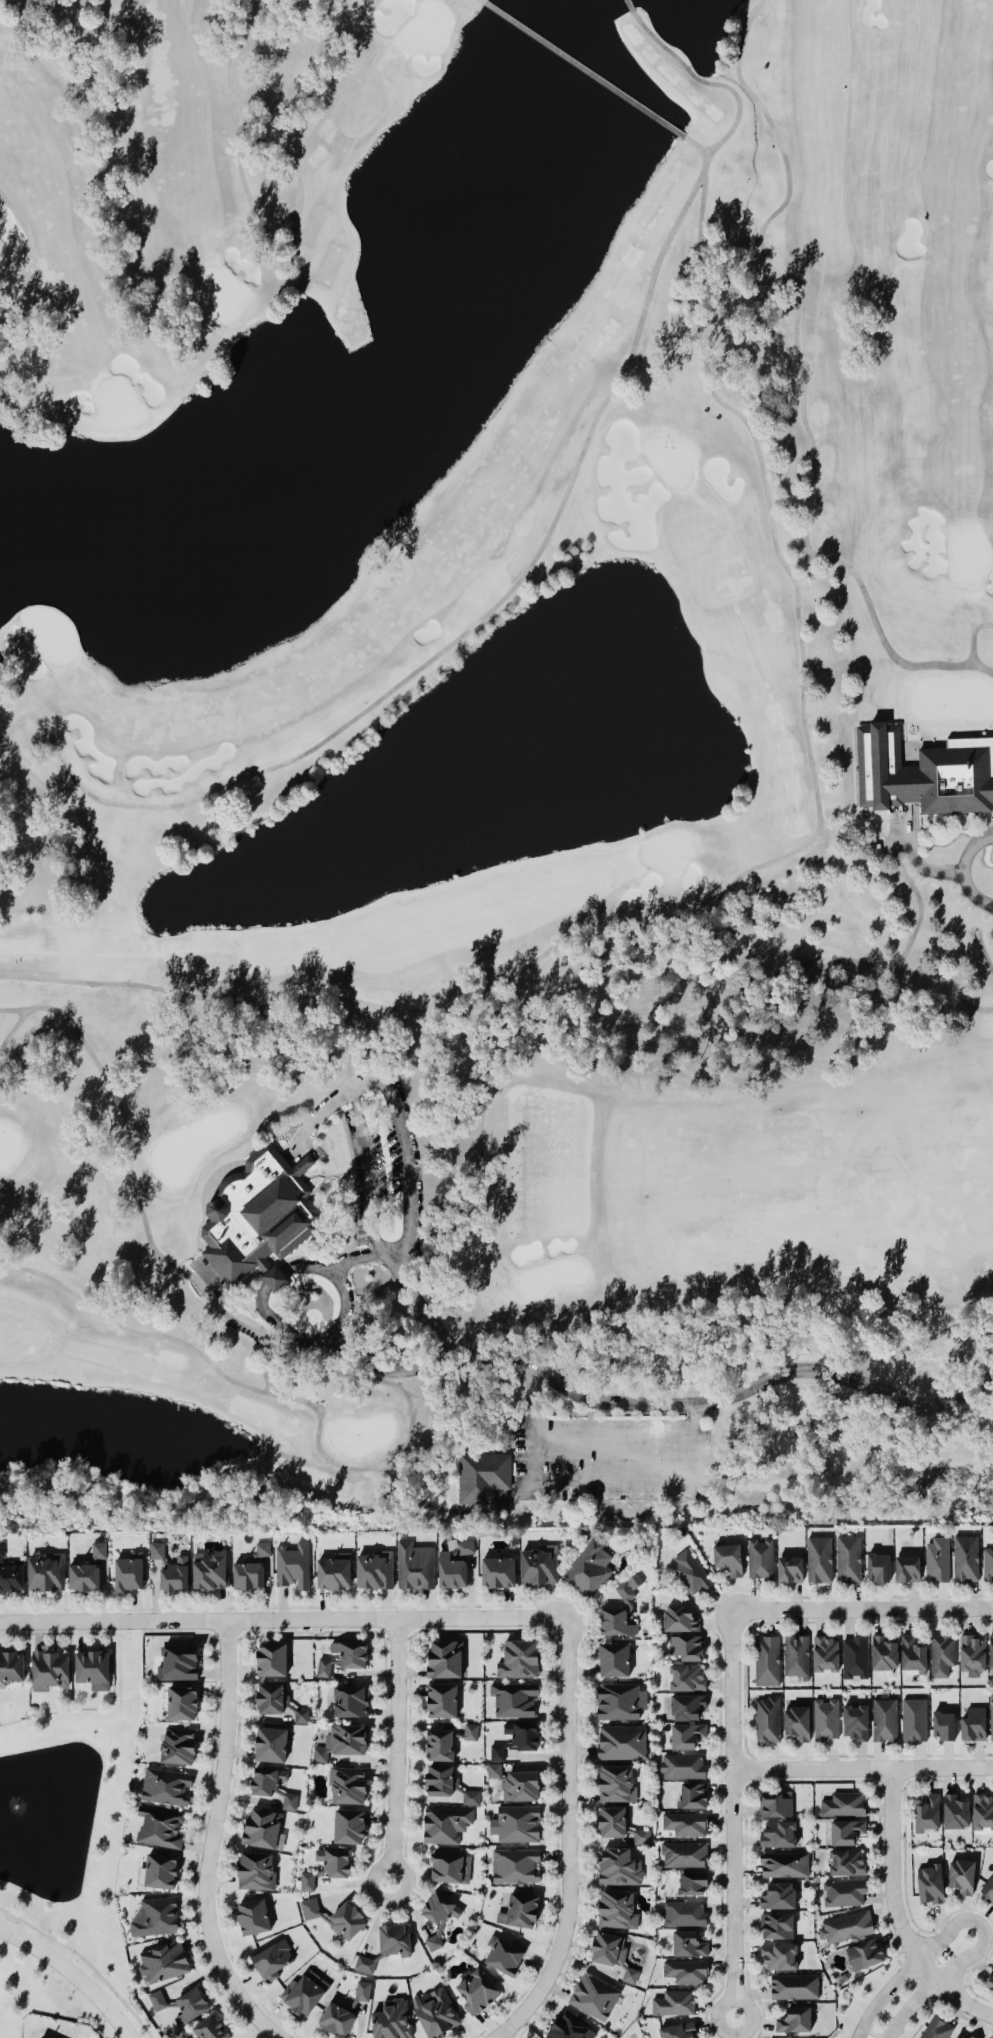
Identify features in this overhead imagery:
park: (496, 764)
building: (924, 771)
road: (902, 829)
road: (886, 845)
road: (964, 867)
road: (929, 868)
road: (322, 1105)
road: (405, 1162)
road: (369, 1169)
building: (258, 1215)
road: (360, 1255)
road: (344, 1289)
road: (418, 1303)
road: (390, 1369)
road: (726, 1395)
road: (611, 1437)
building: (482, 1474)
road: (592, 1479)
building: (157, 1548)
building: (1, 1549)
building: (728, 1557)
building: (937, 1557)
building: (966, 1557)
building: (760, 1558)
building: (819, 1558)
building: (848, 1558)
building: (987, 1562)
building: (414, 1564)
building: (454, 1564)
building: (292, 1565)
building: (538, 1565)
building: (373, 1566)
building: (589, 1566)
building: (877, 1566)
building: (906, 1566)
building: (86, 1568)
building: (250, 1568)
building: (789, 1568)
building: (209, 1569)
building: (333, 1569)
building: (45, 1570)
building: (497, 1570)
building: (128, 1571)
building: (690, 1571)
building: (174, 1573)
building: (11, 1576)
building: (624, 1589)
road: (861, 1607)
building: (679, 1616)
road: (281, 1619)
building: (615, 1621)
building: (686, 1645)
building: (990, 1649)
building: (350, 1652)
building: (825, 1652)
building: (883, 1652)
building: (941, 1652)
building: (795, 1653)
building: (912, 1653)
building: (971, 1653)
building: (855, 1655)
building: (271, 1657)
building: (443, 1657)
building: (613, 1657)
building: (766, 1657)
building: (519, 1658)
building: (177, 1660)
building: (11, 1664)
building: (323, 1665)
building: (92, 1666)
building: (49, 1669)
building: (687, 1676)
building: (272, 1697)
building: (514, 1697)
building: (442, 1698)
building: (350, 1699)
building: (619, 1699)
building: (181, 1701)
building: (687, 1704)
building: (991, 1712)
building: (301, 1715)
building: (766, 1717)
building: (826, 1718)
building: (884, 1718)
building: (914, 1718)
building: (796, 1721)
building: (855, 1721)
building: (943, 1723)
building: (973, 1723)
building: (470, 1729)
building: (523, 1733)
building: (686, 1734)
building: (341, 1739)
building: (621, 1741)
building: (270, 1742)
building: (439, 1742)
building: (178, 1743)
road: (396, 1750)
building: (497, 1750)
building: (682, 1764)
road: (861, 1768)
building: (447, 1781)
building: (515, 1782)
building: (614, 1782)
building: (346, 1783)
building: (166, 1784)
building: (272, 1784)
building: (692, 1793)
building: (775, 1802)
fountain: (11, 1803)
building: (842, 1803)
building: (983, 1809)
building: (954, 1811)
road: (730, 1812)
building: (927, 1812)
building: (685, 1821)
building: (445, 1822)
building: (518, 1822)
building: (620, 1823)
building: (348, 1824)
building: (159, 1825)
building: (261, 1826)
building: (845, 1830)
building: (776, 1832)
road: (566, 1840)
road: (207, 1841)
building: (683, 1853)
building: (334, 1861)
building: (846, 1861)
building: (783, 1863)
building: (516, 1864)
building: (449, 1866)
building: (618, 1866)
building: (255, 1869)
building: (157, 1870)
building: (961, 1874)
building: (307, 1879)
building: (691, 1881)
building: (929, 1882)
building: (987, 1887)
building: (844, 1891)
building: (776, 1894)
building: (439, 1907)
building: (615, 1907)
building: (519, 1908)
building: (684, 1911)
building: (154, 1915)
building: (252, 1915)
road: (893, 1915)
building: (337, 1916)
road: (966, 1920)
building: (776, 1924)
building: (845, 1925)
building: (433, 1940)
building: (687, 1941)
building: (386, 1943)
building: (605, 1947)
building: (503, 1952)
building: (864, 1952)
building: (778, 1954)
building: (272, 1958)
building: (163, 1959)
building: (686, 1969)
road: (73, 1973)
building: (629, 1973)
building: (989, 1978)
building: (793, 1985)
building: (362, 1989)
building: (475, 1989)
building: (305, 1990)
building: (593, 1994)
building: (157, 1998)
building: (674, 2001)
building: (190, 2004)
building: (435, 2010)
building: (336, 2017)
building: (391, 2018)
building: (793, 2018)
building: (569, 2026)
building: (211, 2027)
building: (936, 2028)
building: (678, 2030)
road: (632, 2035)
building: (52, 2036)
building: (969, 2036)
building: (40, 2037)
road: (491, 2037)
road: (492, 2037)
building: (956, 2037)

